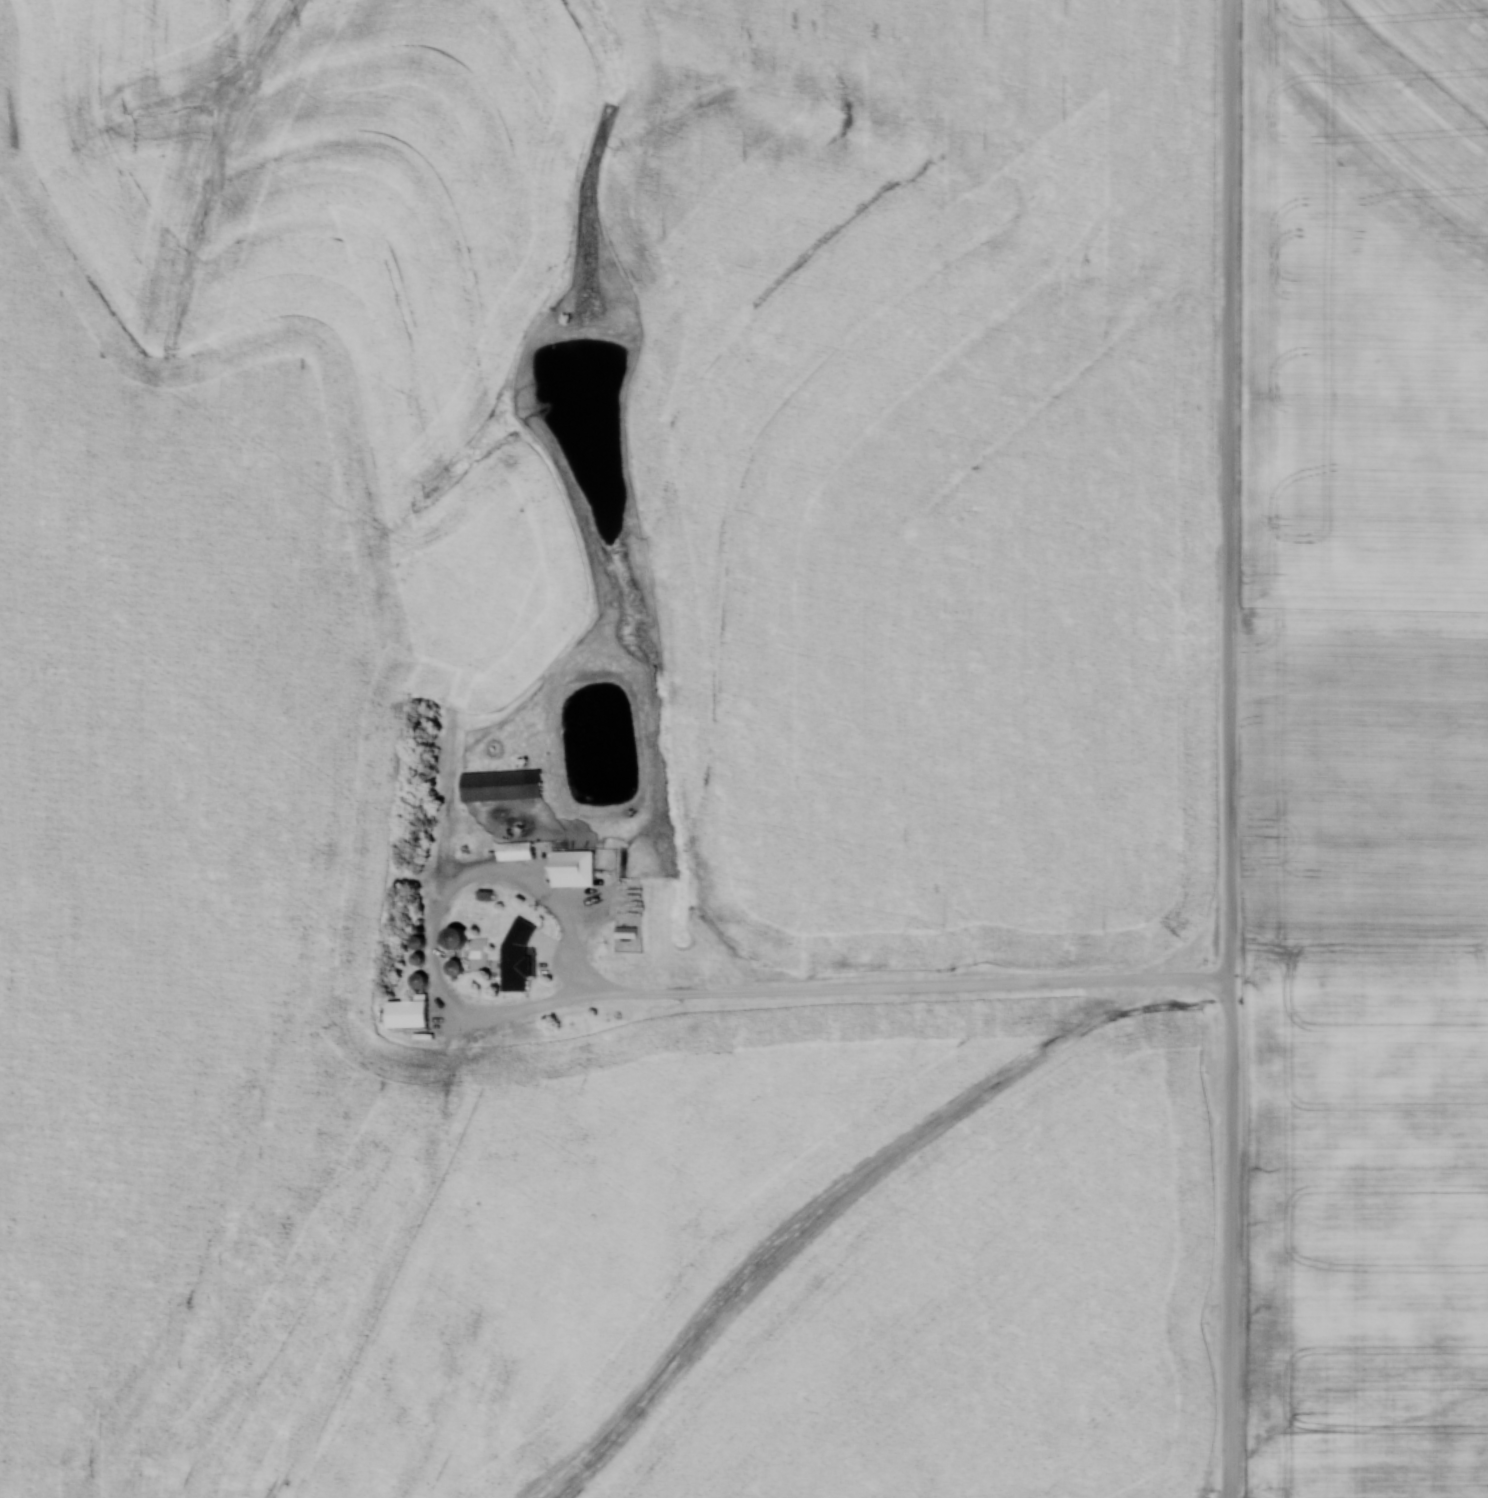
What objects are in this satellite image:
road: (1235, 749)
building: (504, 784)
building: (518, 850)
building: (577, 867)
building: (468, 952)
building: (521, 954)
road: (892, 990)
building: (412, 1011)

